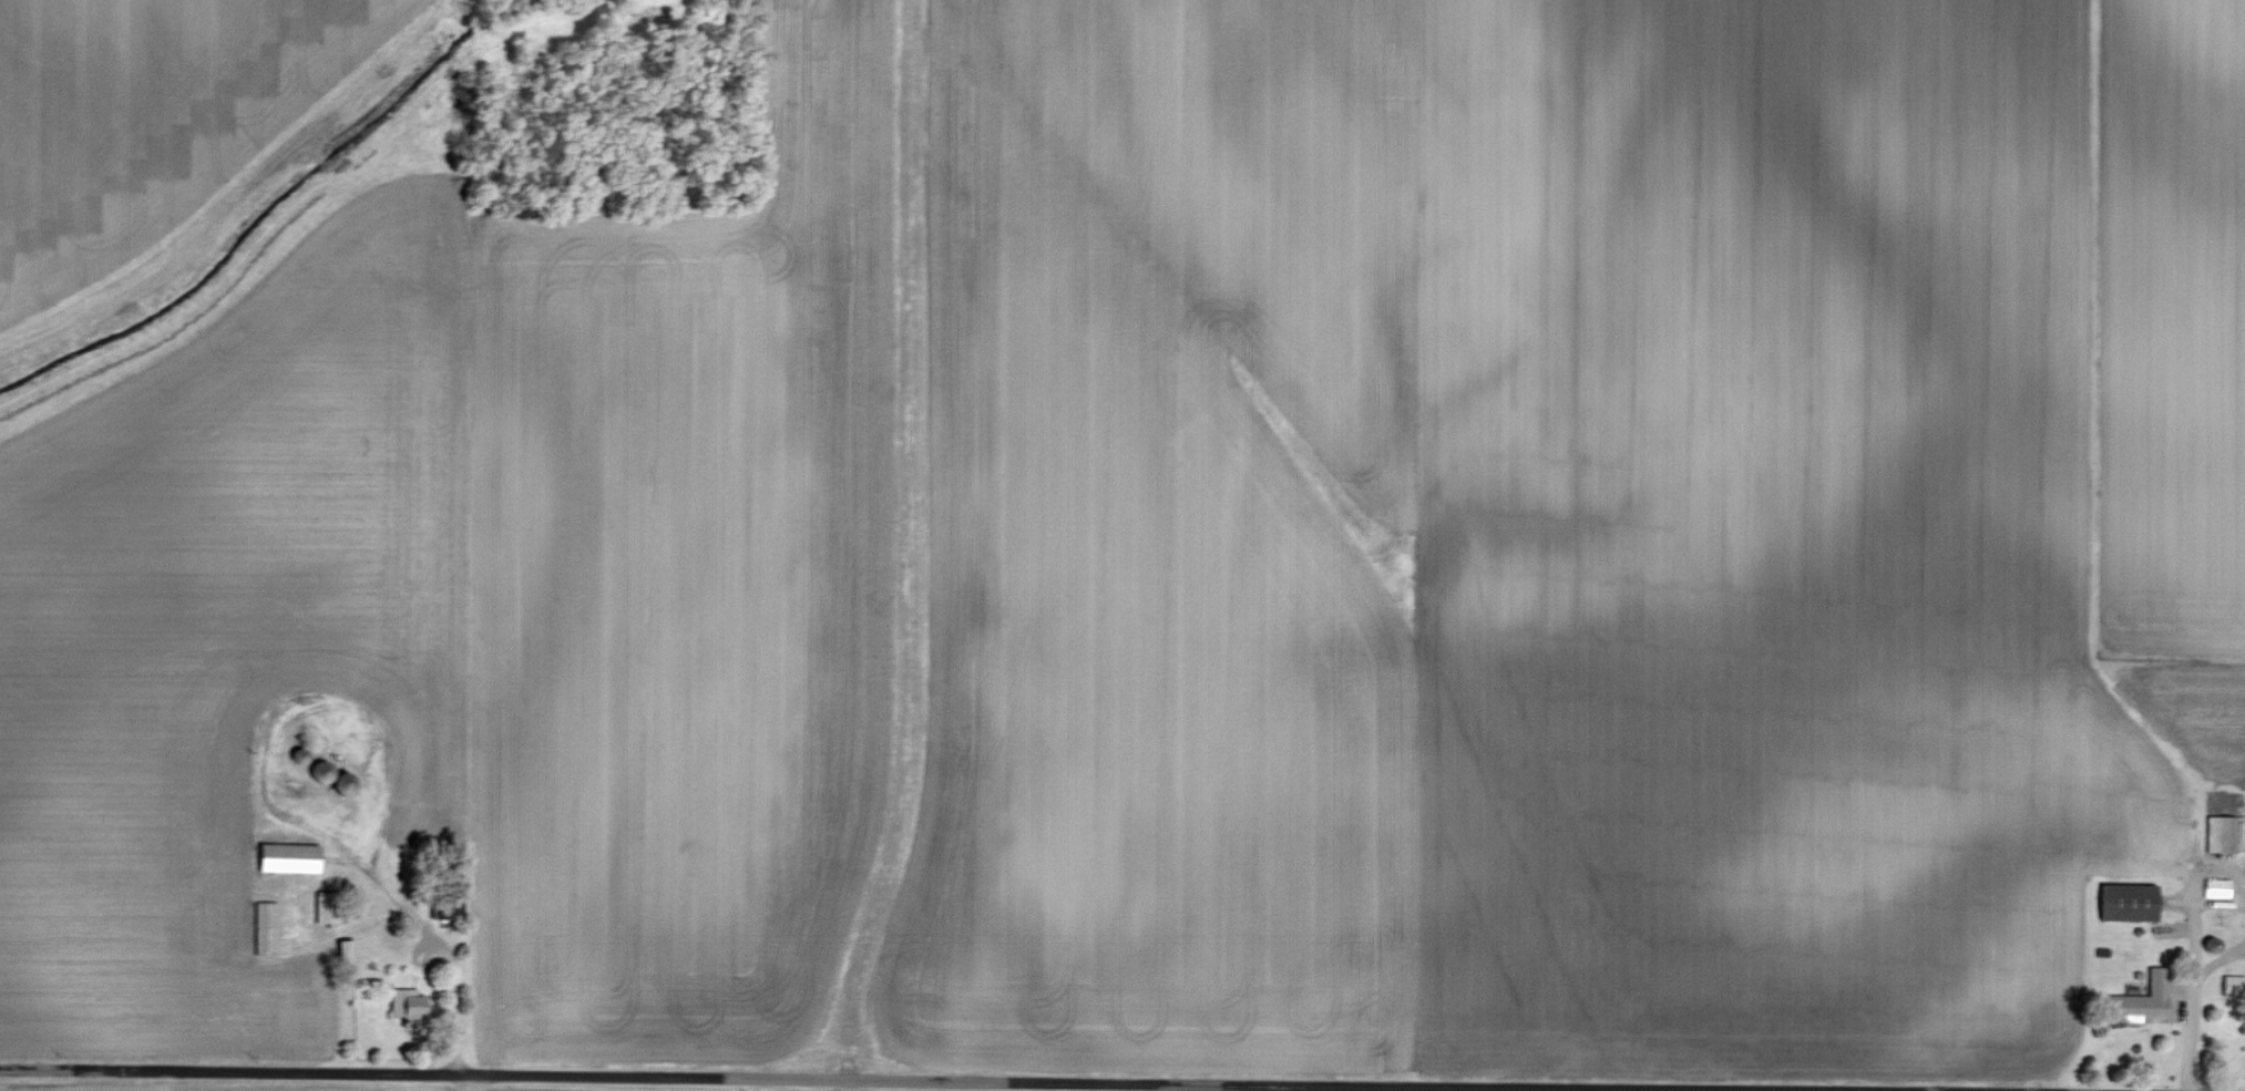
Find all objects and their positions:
building: (2239, 826)
building: (268, 927)
road: (2193, 954)
road: (455, 989)
road: (900, 1079)

